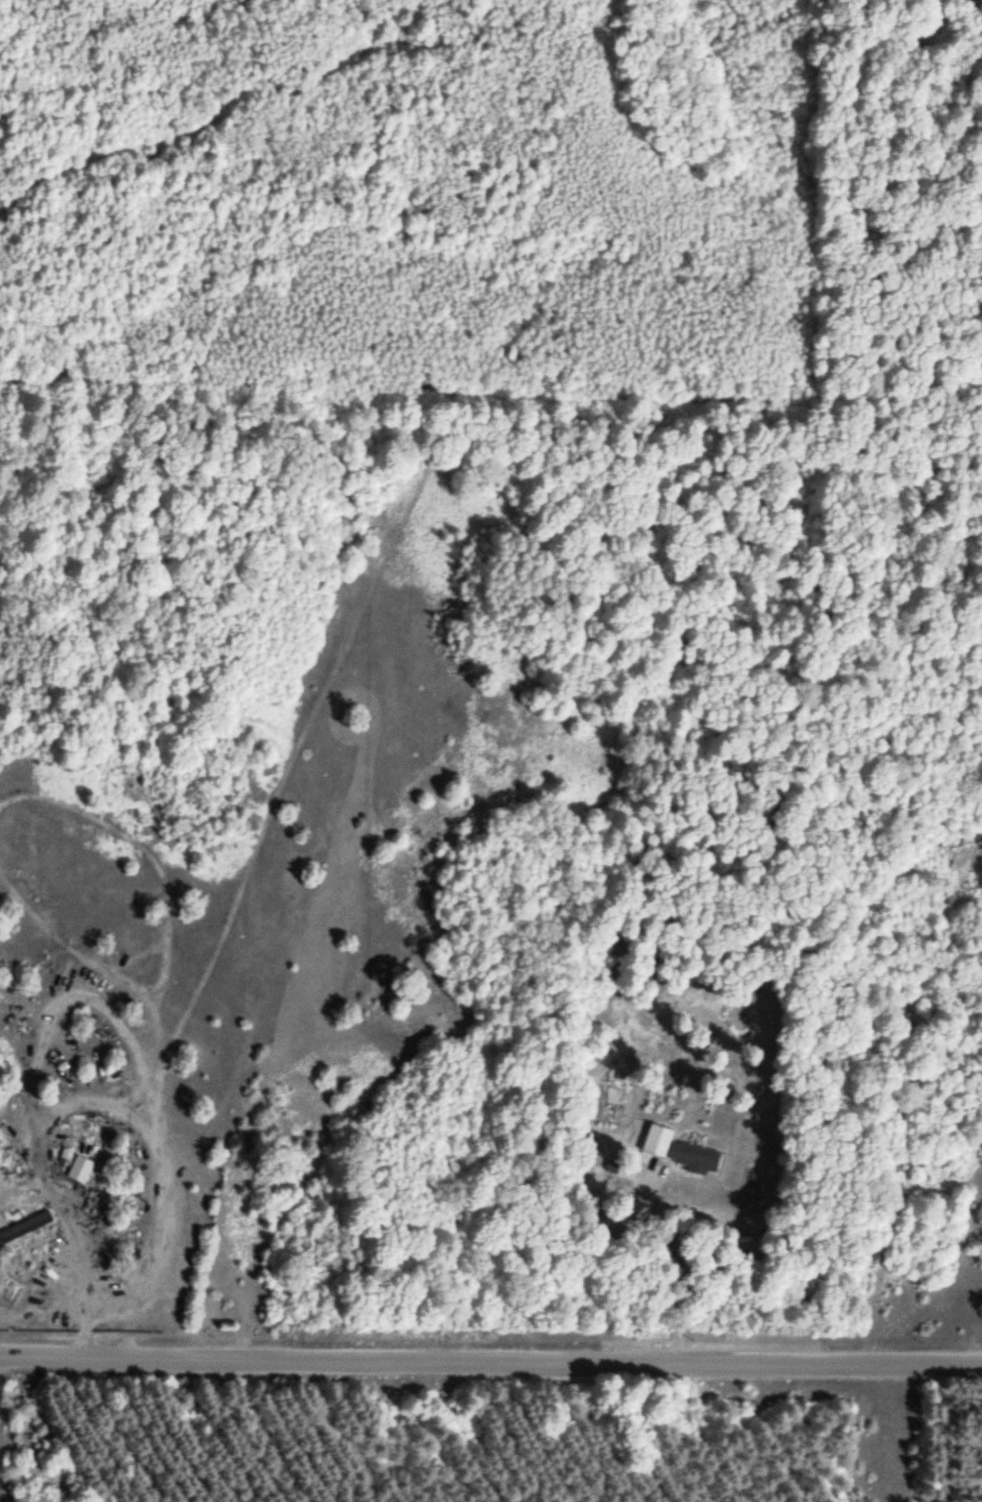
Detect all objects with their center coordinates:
road: (491, 390)
building: (681, 1150)
building: (83, 1170)
road: (491, 1355)

